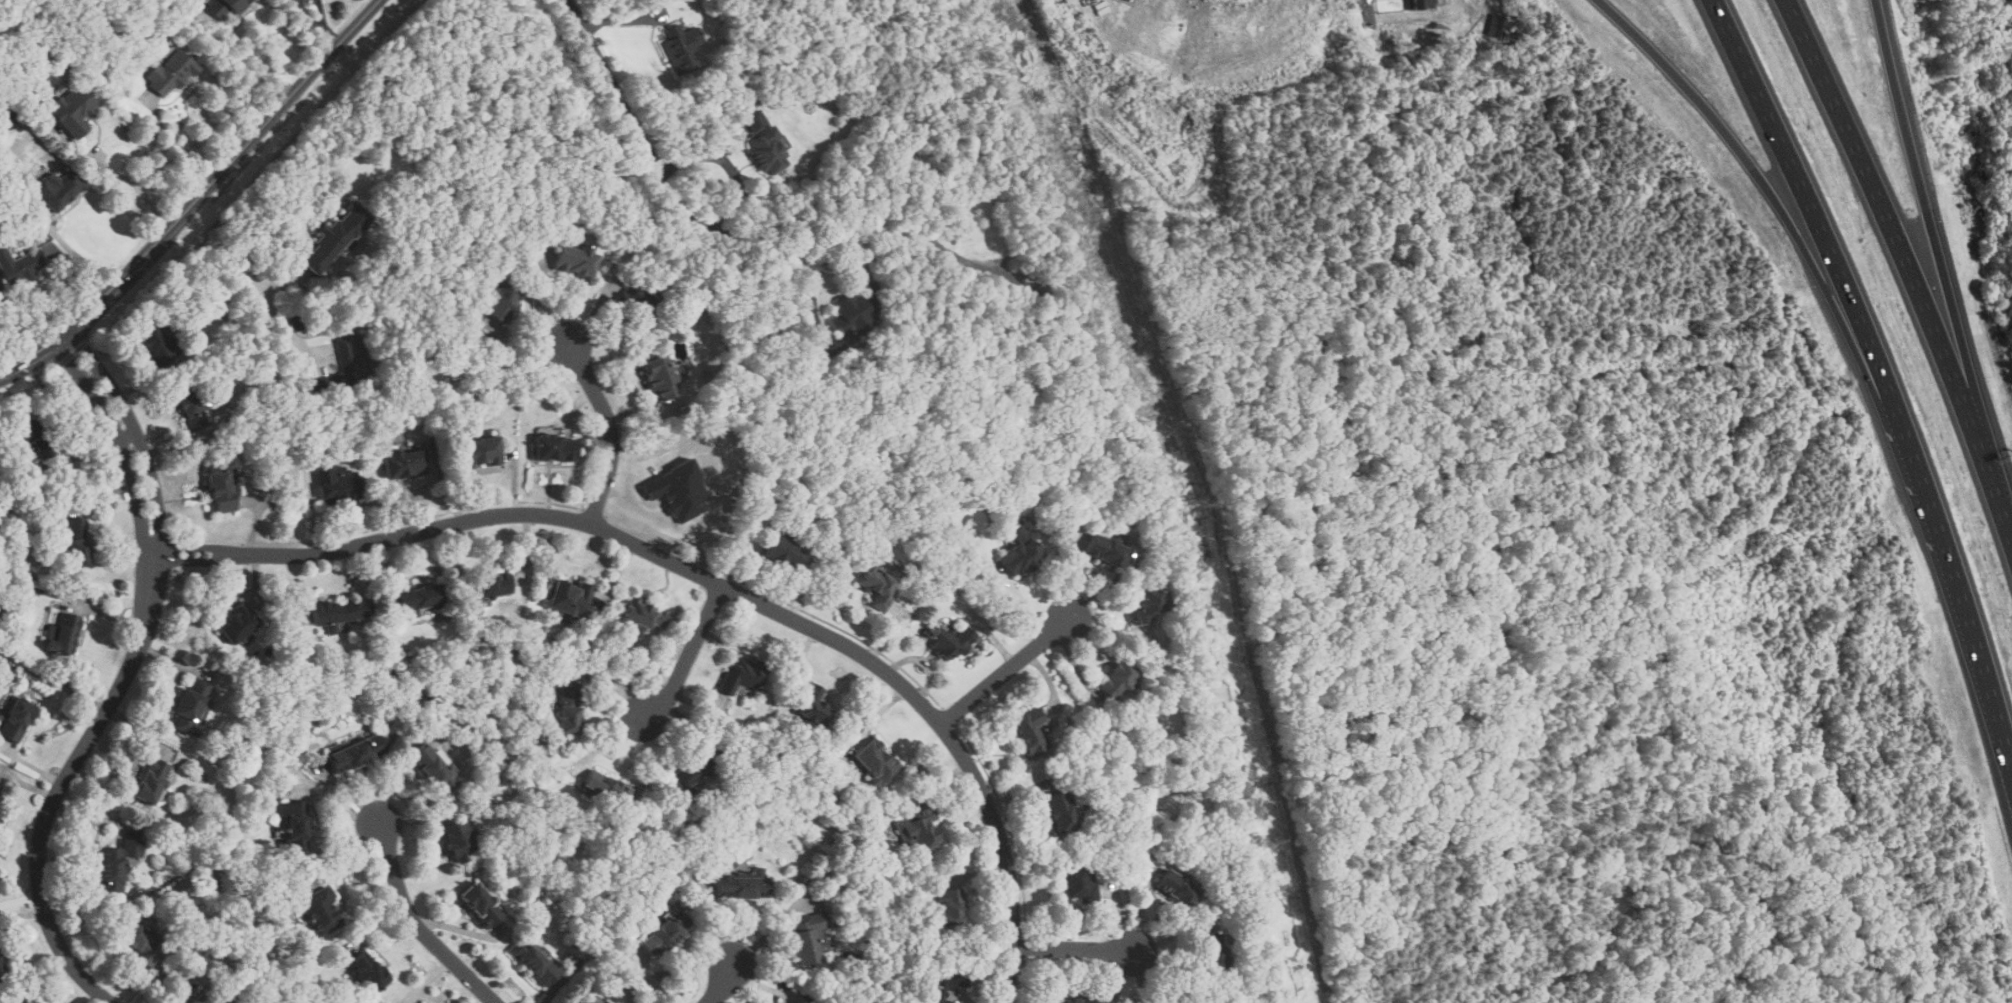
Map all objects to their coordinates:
building: (1423, 3)
road: (1368, 4)
building: (226, 6)
building: (1497, 25)
building: (681, 48)
road: (245, 52)
building: (169, 73)
building: (75, 107)
road: (177, 143)
building: (764, 143)
road: (137, 186)
building: (58, 189)
road: (670, 194)
road: (199, 197)
building: (333, 238)
road: (1897, 239)
road: (1933, 242)
road: (1807, 252)
building: (574, 259)
building: (19, 265)
road: (231, 273)
building: (500, 299)
building: (638, 302)
building: (846, 324)
building: (156, 343)
building: (356, 351)
building: (344, 356)
road: (1882, 373)
building: (658, 378)
building: (192, 406)
road: (613, 431)
building: (29, 437)
building: (555, 448)
building: (480, 451)
building: (402, 464)
building: (338, 484)
building: (221, 486)
building: (678, 488)
power tower: (1191, 506)
road: (2004, 508)
building: (78, 542)
building: (1104, 550)
building: (1020, 551)
building: (783, 553)
road: (709, 578)
building: (877, 581)
building: (492, 584)
building: (568, 598)
building: (417, 599)
building: (1146, 602)
building: (336, 612)
building: (639, 617)
building: (238, 622)
building: (64, 634)
building: (948, 643)
road: (691, 654)
road: (1007, 671)
building: (741, 674)
road: (126, 677)
road: (54, 678)
building: (1115, 680)
building: (189, 706)
building: (813, 706)
building: (568, 707)
building: (15, 719)
building: (1029, 731)
building: (354, 751)
building: (875, 759)
building: (432, 765)
building: (689, 768)
building: (149, 779)
building: (604, 785)
building: (1059, 810)
building: (293, 823)
building: (918, 829)
building: (457, 839)
power tower: (1267, 843)
building: (113, 863)
building: (743, 883)
building: (1076, 884)
building: (1176, 886)
building: (479, 903)
building: (950, 905)
building: (320, 910)
road: (419, 925)
building: (664, 931)
building: (804, 937)
building: (139, 938)
road: (1074, 948)
building: (1212, 951)
building: (531, 960)
building: (2, 969)
building: (367, 970)
building: (943, 983)
road: (723, 984)
building: (205, 996)
building: (1075, 998)
building: (32, 1001)
building: (35, 1001)
building: (584, 1001)
building: (1187, 1001)
building: (607, 1002)

